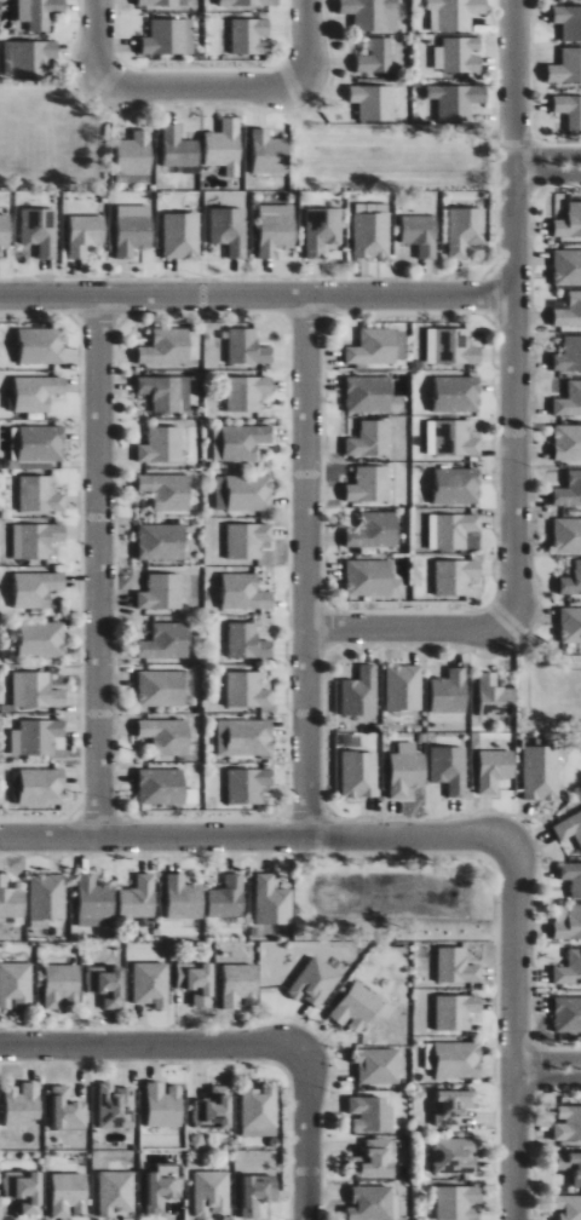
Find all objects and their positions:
building: (248, 2)
building: (163, 4)
building: (39, 12)
building: (373, 15)
building: (454, 15)
building: (569, 22)
building: (251, 36)
building: (169, 38)
road: (99, 41)
road: (306, 41)
building: (459, 56)
building: (28, 57)
building: (376, 57)
building: (566, 68)
road: (202, 87)
building: (458, 100)
building: (374, 103)
building: (569, 110)
building: (225, 146)
building: (179, 149)
building: (270, 152)
building: (134, 154)
road: (547, 155)
road: (547, 175)
building: (570, 221)
building: (133, 230)
building: (230, 230)
building: (322, 230)
building: (465, 230)
building: (5, 231)
building: (40, 231)
building: (276, 234)
building: (372, 234)
building: (420, 234)
building: (85, 235)
building: (182, 235)
building: (568, 267)
road: (257, 298)
building: (569, 311)
road: (513, 312)
building: (42, 345)
building: (166, 346)
building: (378, 346)
building: (451, 346)
building: (247, 347)
building: (569, 355)
building: (38, 392)
building: (167, 392)
building: (247, 392)
building: (458, 393)
building: (372, 395)
building: (569, 401)
building: (451, 438)
building: (369, 439)
building: (240, 442)
building: (568, 442)
building: (38, 443)
building: (162, 444)
building: (370, 484)
building: (458, 485)
building: (167, 490)
building: (569, 490)
building: (245, 493)
building: (40, 494)
building: (455, 529)
building: (375, 530)
building: (568, 536)
building: (36, 539)
building: (248, 540)
building: (162, 541)
road: (99, 568)
road: (306, 568)
building: (455, 575)
building: (372, 579)
building: (571, 581)
building: (36, 588)
building: (162, 592)
building: (246, 592)
building: (570, 625)
road: (408, 629)
building: (41, 639)
building: (167, 641)
building: (248, 641)
building: (403, 687)
building: (162, 689)
building: (36, 690)
building: (248, 690)
building: (450, 691)
building: (361, 692)
building: (495, 697)
building: (36, 736)
building: (167, 736)
building: (245, 737)
building: (449, 769)
building: (407, 770)
building: (495, 770)
building: (541, 772)
building: (359, 773)
building: (248, 784)
building: (162, 785)
building: (42, 787)
building: (569, 827)
road: (254, 839)
building: (573, 876)
building: (139, 897)
building: (229, 897)
building: (184, 898)
building: (11, 899)
building: (47, 899)
building: (274, 902)
building: (94, 903)
building: (569, 923)
building: (456, 966)
building: (569, 969)
building: (197, 980)
building: (151, 983)
building: (316, 983)
building: (16, 984)
building: (62, 984)
building: (107, 984)
building: (240, 985)
building: (357, 1007)
building: (456, 1012)
building: (568, 1014)
road: (514, 1030)
road: (151, 1047)
building: (454, 1059)
road: (547, 1060)
building: (378, 1065)
road: (547, 1080)
building: (23, 1104)
building: (165, 1104)
building: (114, 1106)
building: (454, 1106)
building: (214, 1109)
building: (68, 1110)
building: (259, 1111)
building: (372, 1113)
building: (568, 1123)
road: (307, 1135)
building: (456, 1155)
building: (379, 1156)
building: (570, 1164)
building: (163, 1186)
building: (25, 1190)
building: (117, 1192)
building: (212, 1192)
building: (70, 1193)
building: (258, 1193)
building: (459, 1202)
building: (372, 1203)
building: (569, 1207)

